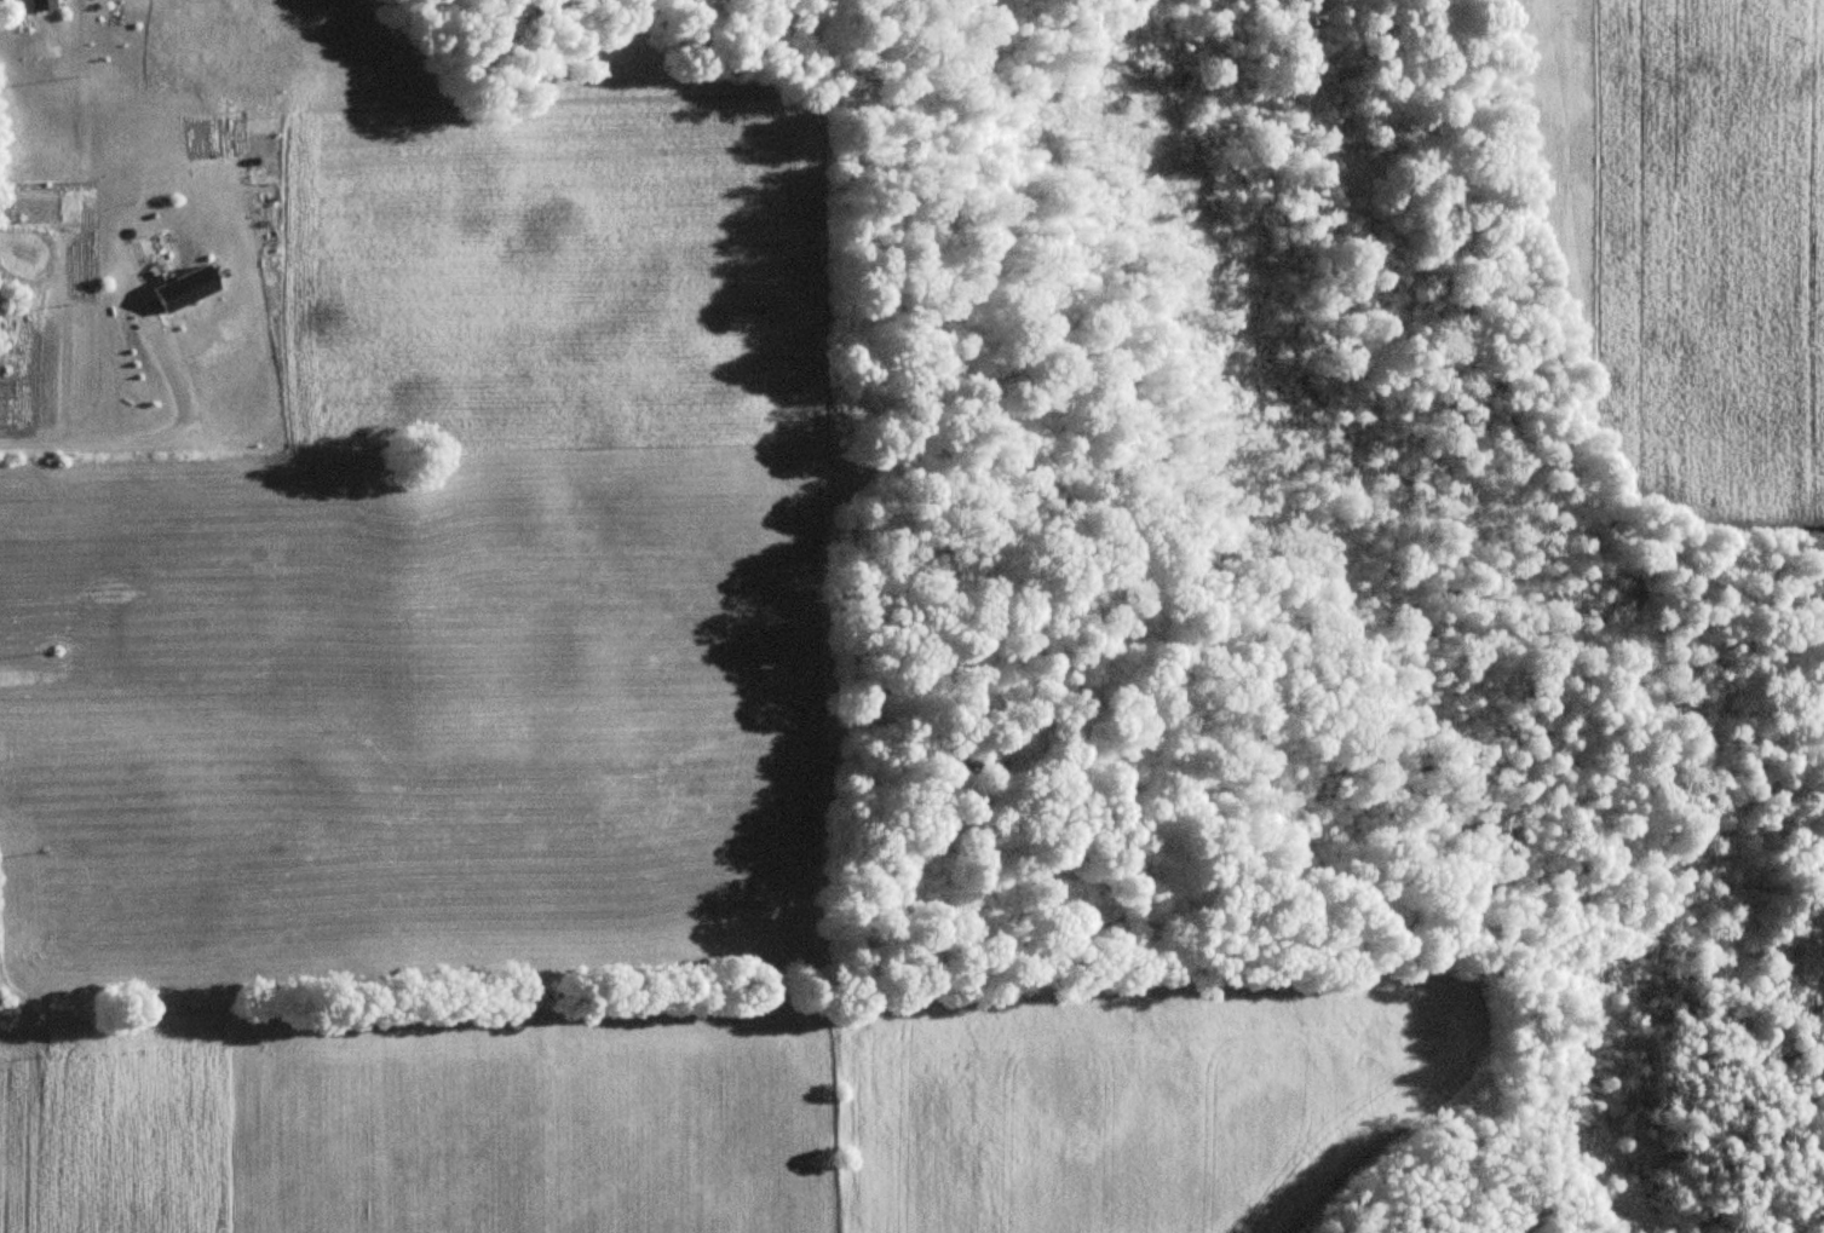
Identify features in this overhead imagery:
building: (36, 6)
building: (188, 288)

